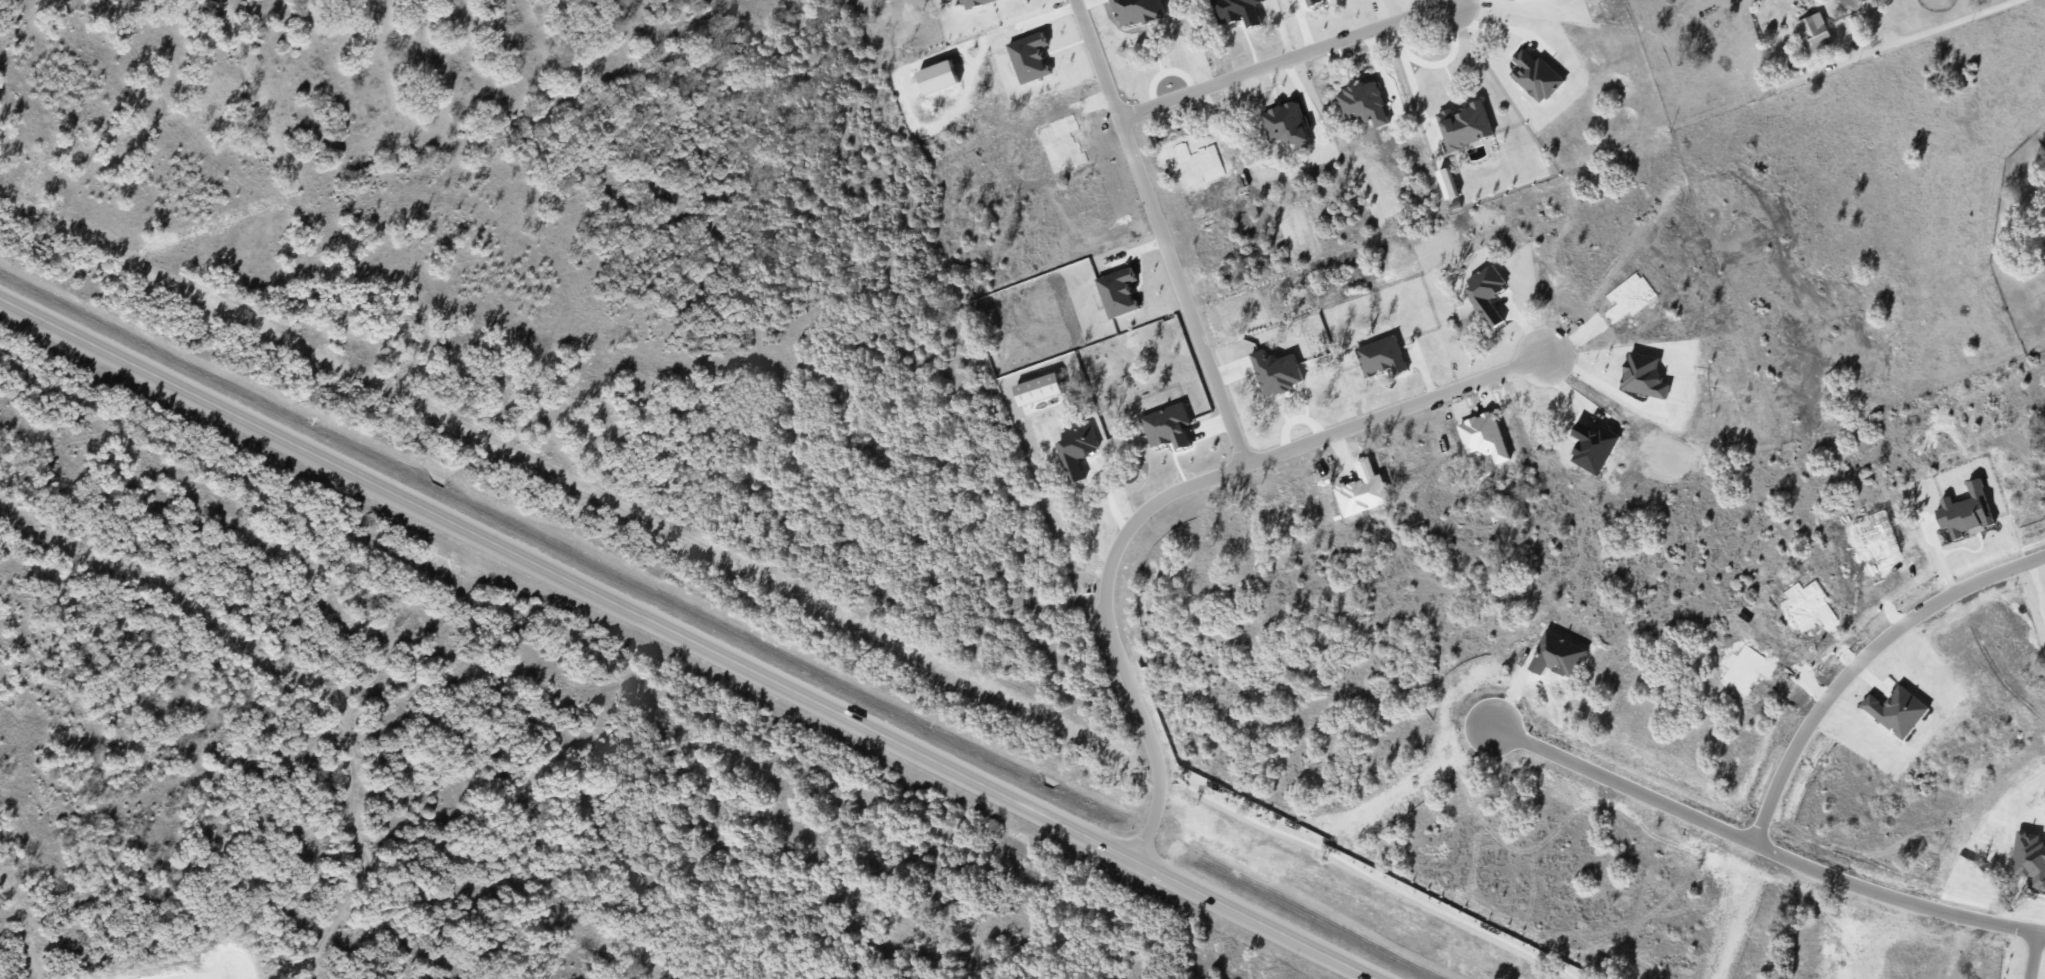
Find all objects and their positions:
road: (1450, 0)
road: (1450, 0)
road: (1451, 0)
building: (974, 3)
building: (1136, 11)
building: (1238, 11)
road: (1496, 20)
building: (1813, 32)
road: (1902, 40)
road: (1284, 59)
road: (1438, 61)
building: (1464, 125)
road: (1160, 232)
building: (1381, 355)
road: (1596, 382)
building: (1167, 426)
building: (1076, 450)
road: (1167, 493)
road: (144, 586)
road: (691, 636)
road: (1865, 649)
road: (277, 784)
road: (1766, 832)
road: (2037, 948)

